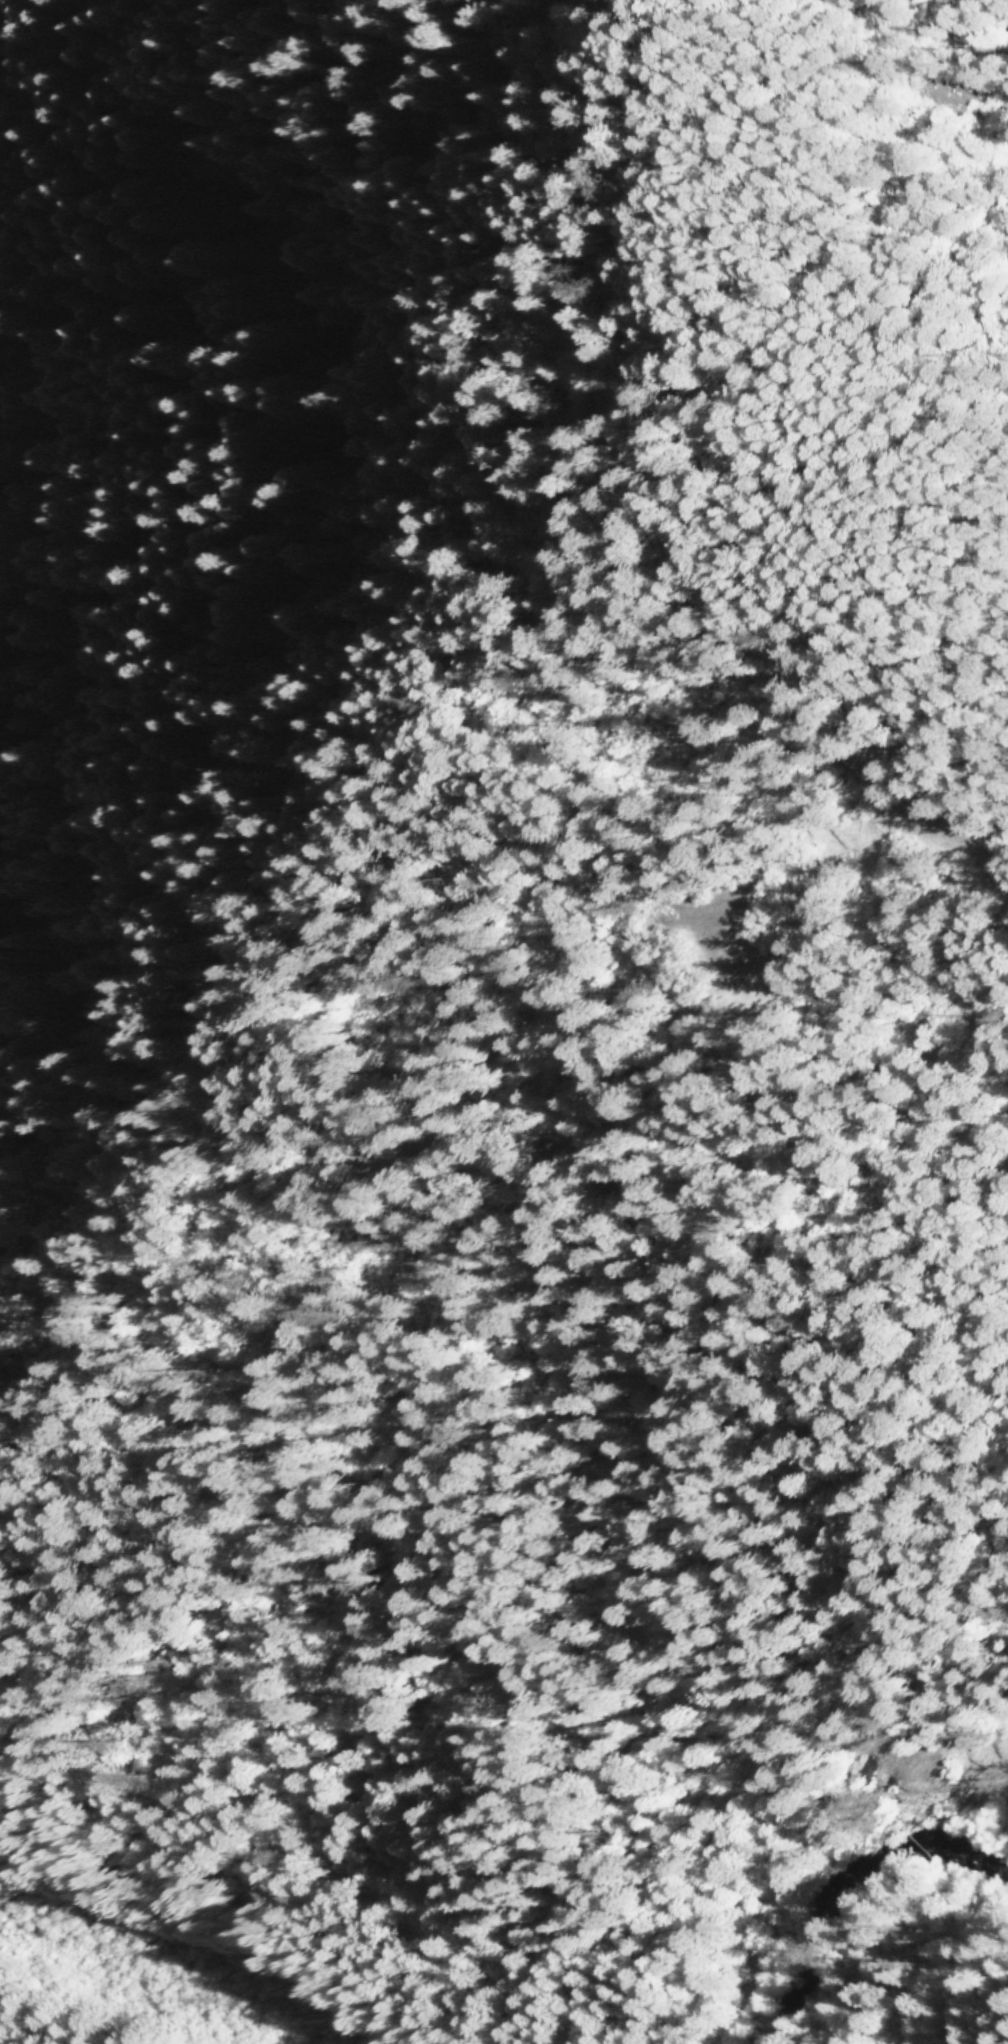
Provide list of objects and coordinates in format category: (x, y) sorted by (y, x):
river: (855, 1898)

